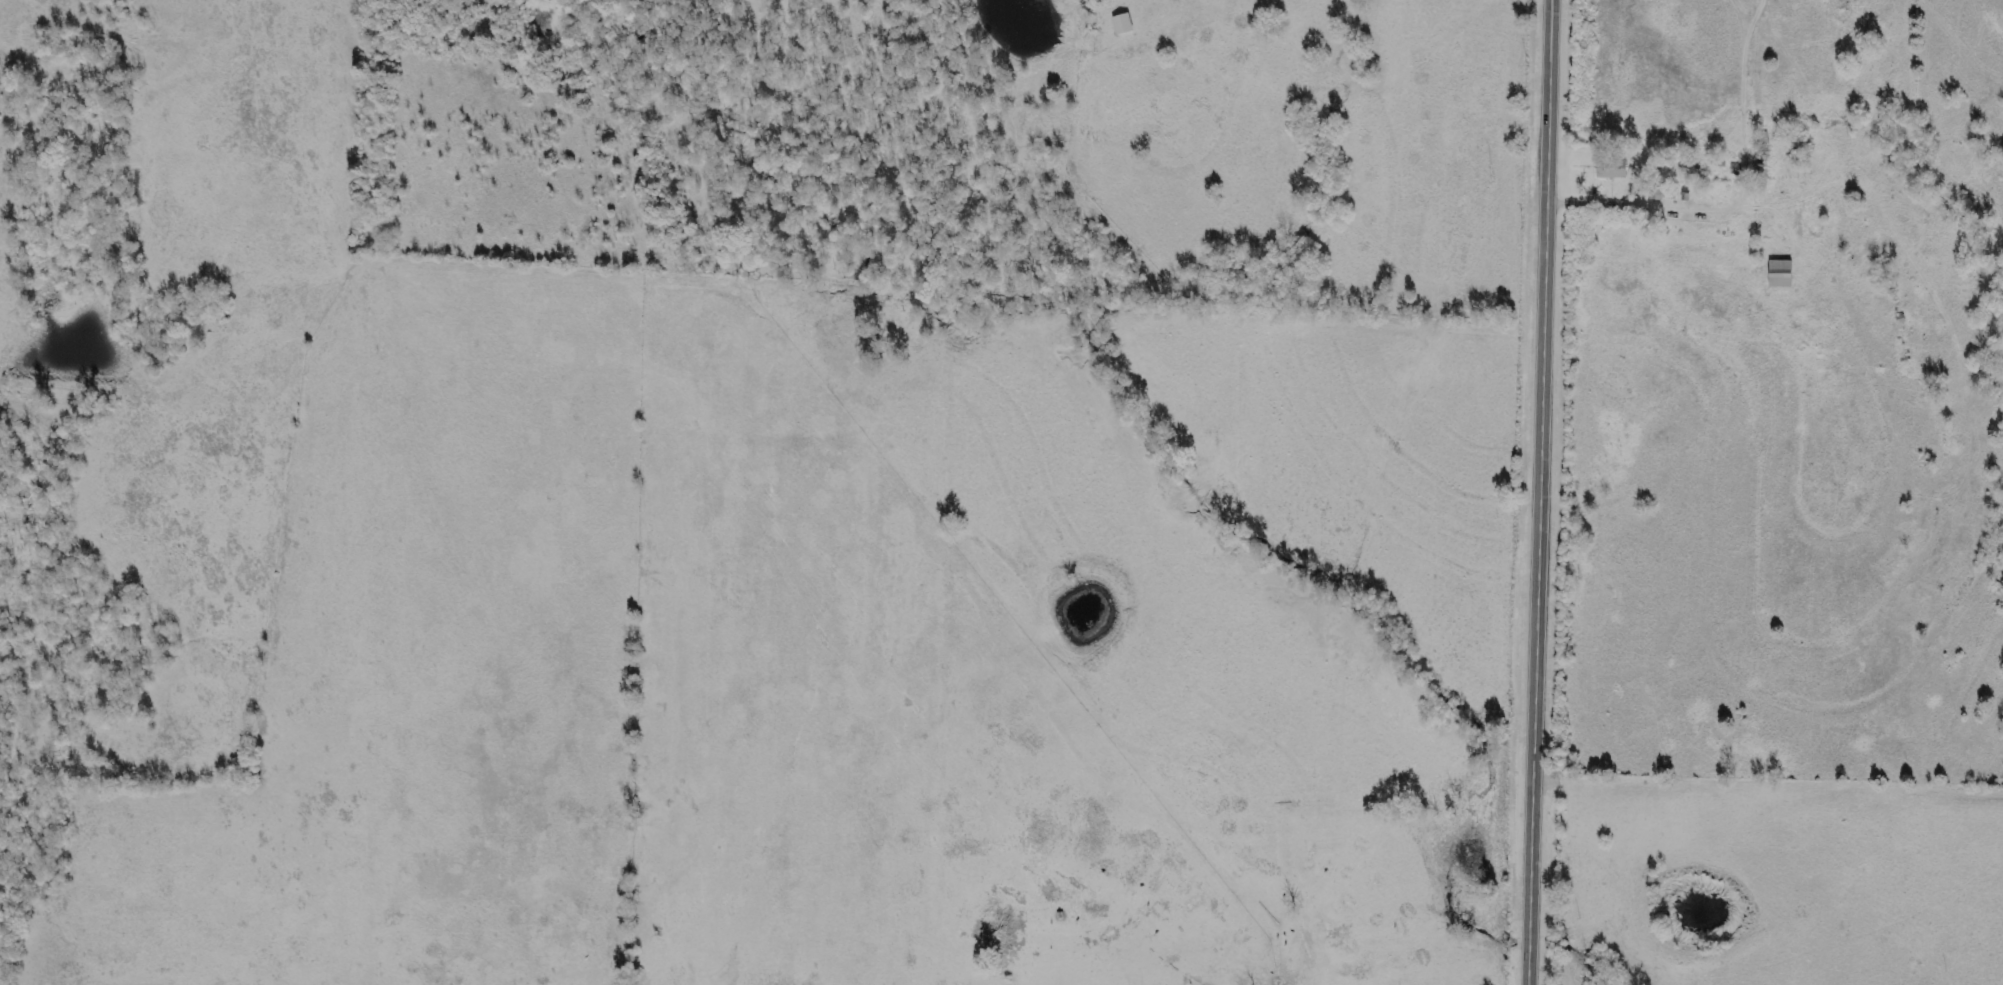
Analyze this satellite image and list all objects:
building: (1126, 22)
building: (1613, 167)
building: (1784, 272)
road: (1539, 492)

